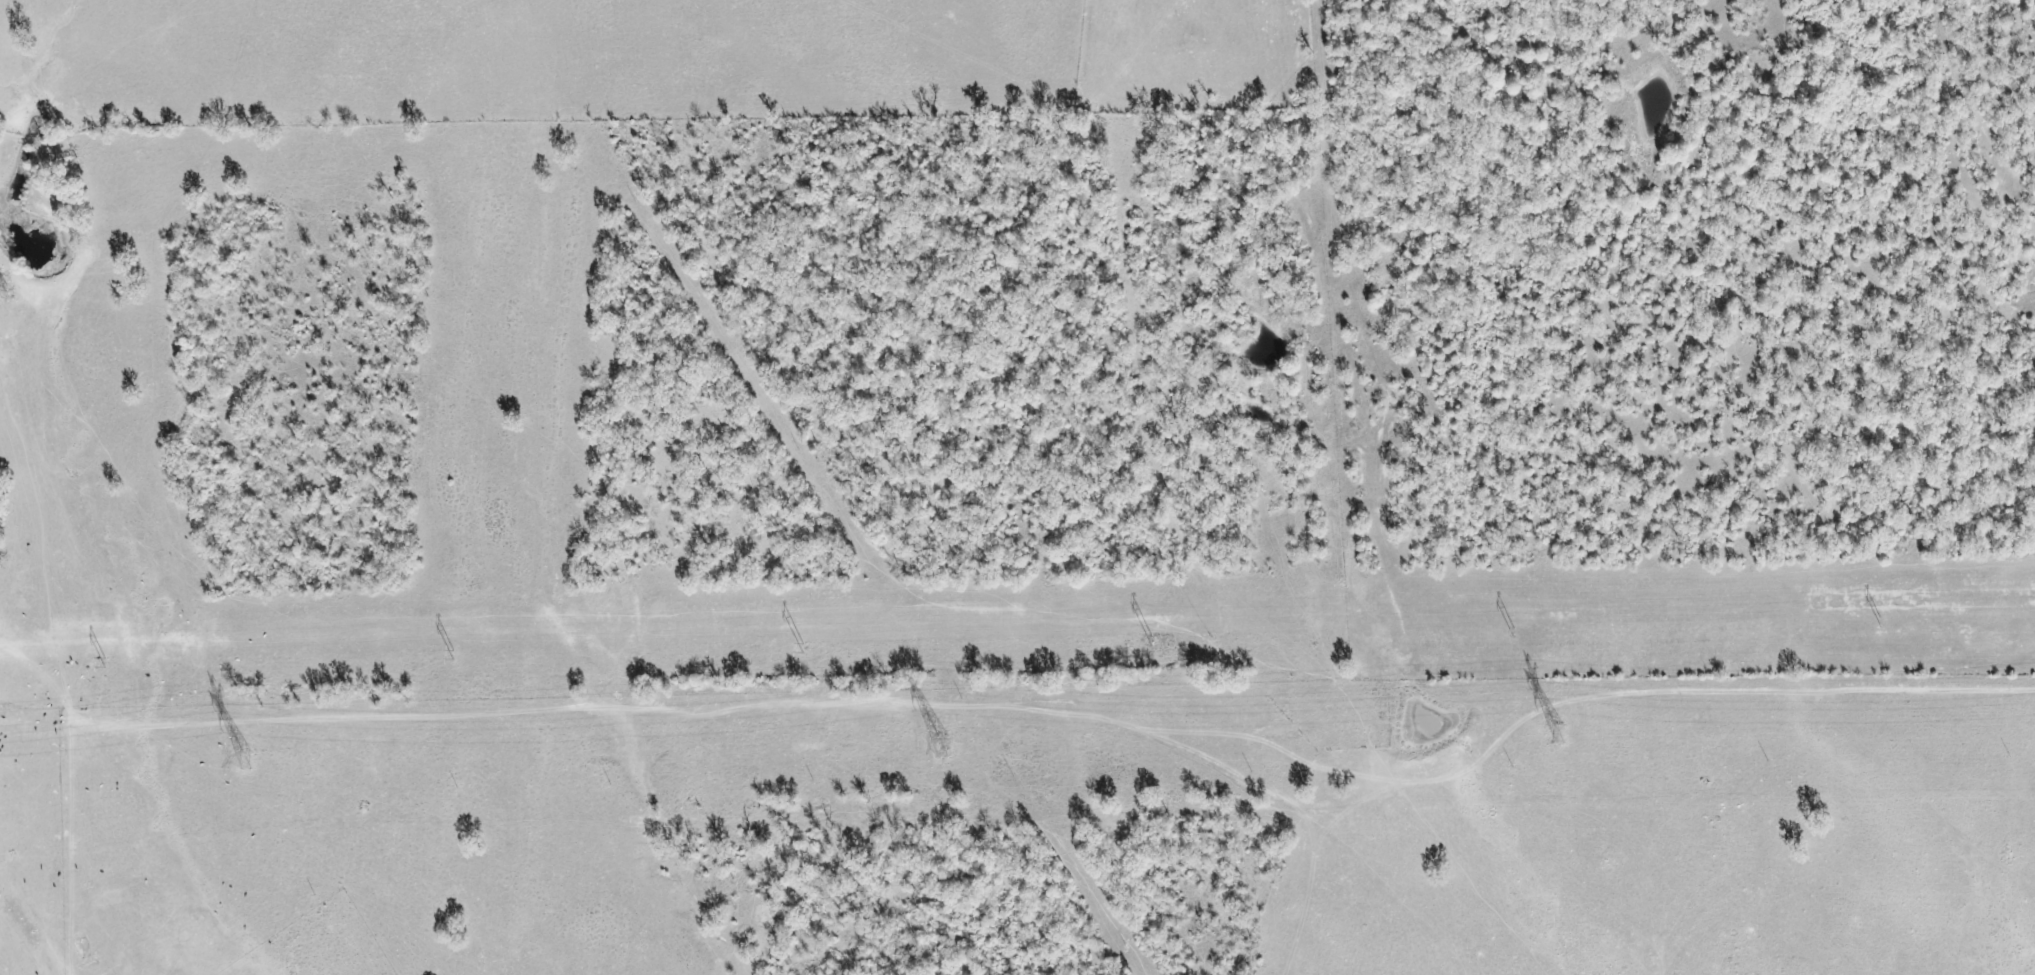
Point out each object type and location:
power tower: (1872, 624)
power tower: (1504, 633)
power tower: (1143, 641)
power tower: (799, 651)
power tower: (474, 656)
power tower: (122, 666)
power tower: (1554, 735)
power tower: (938, 745)
power tower: (245, 761)

